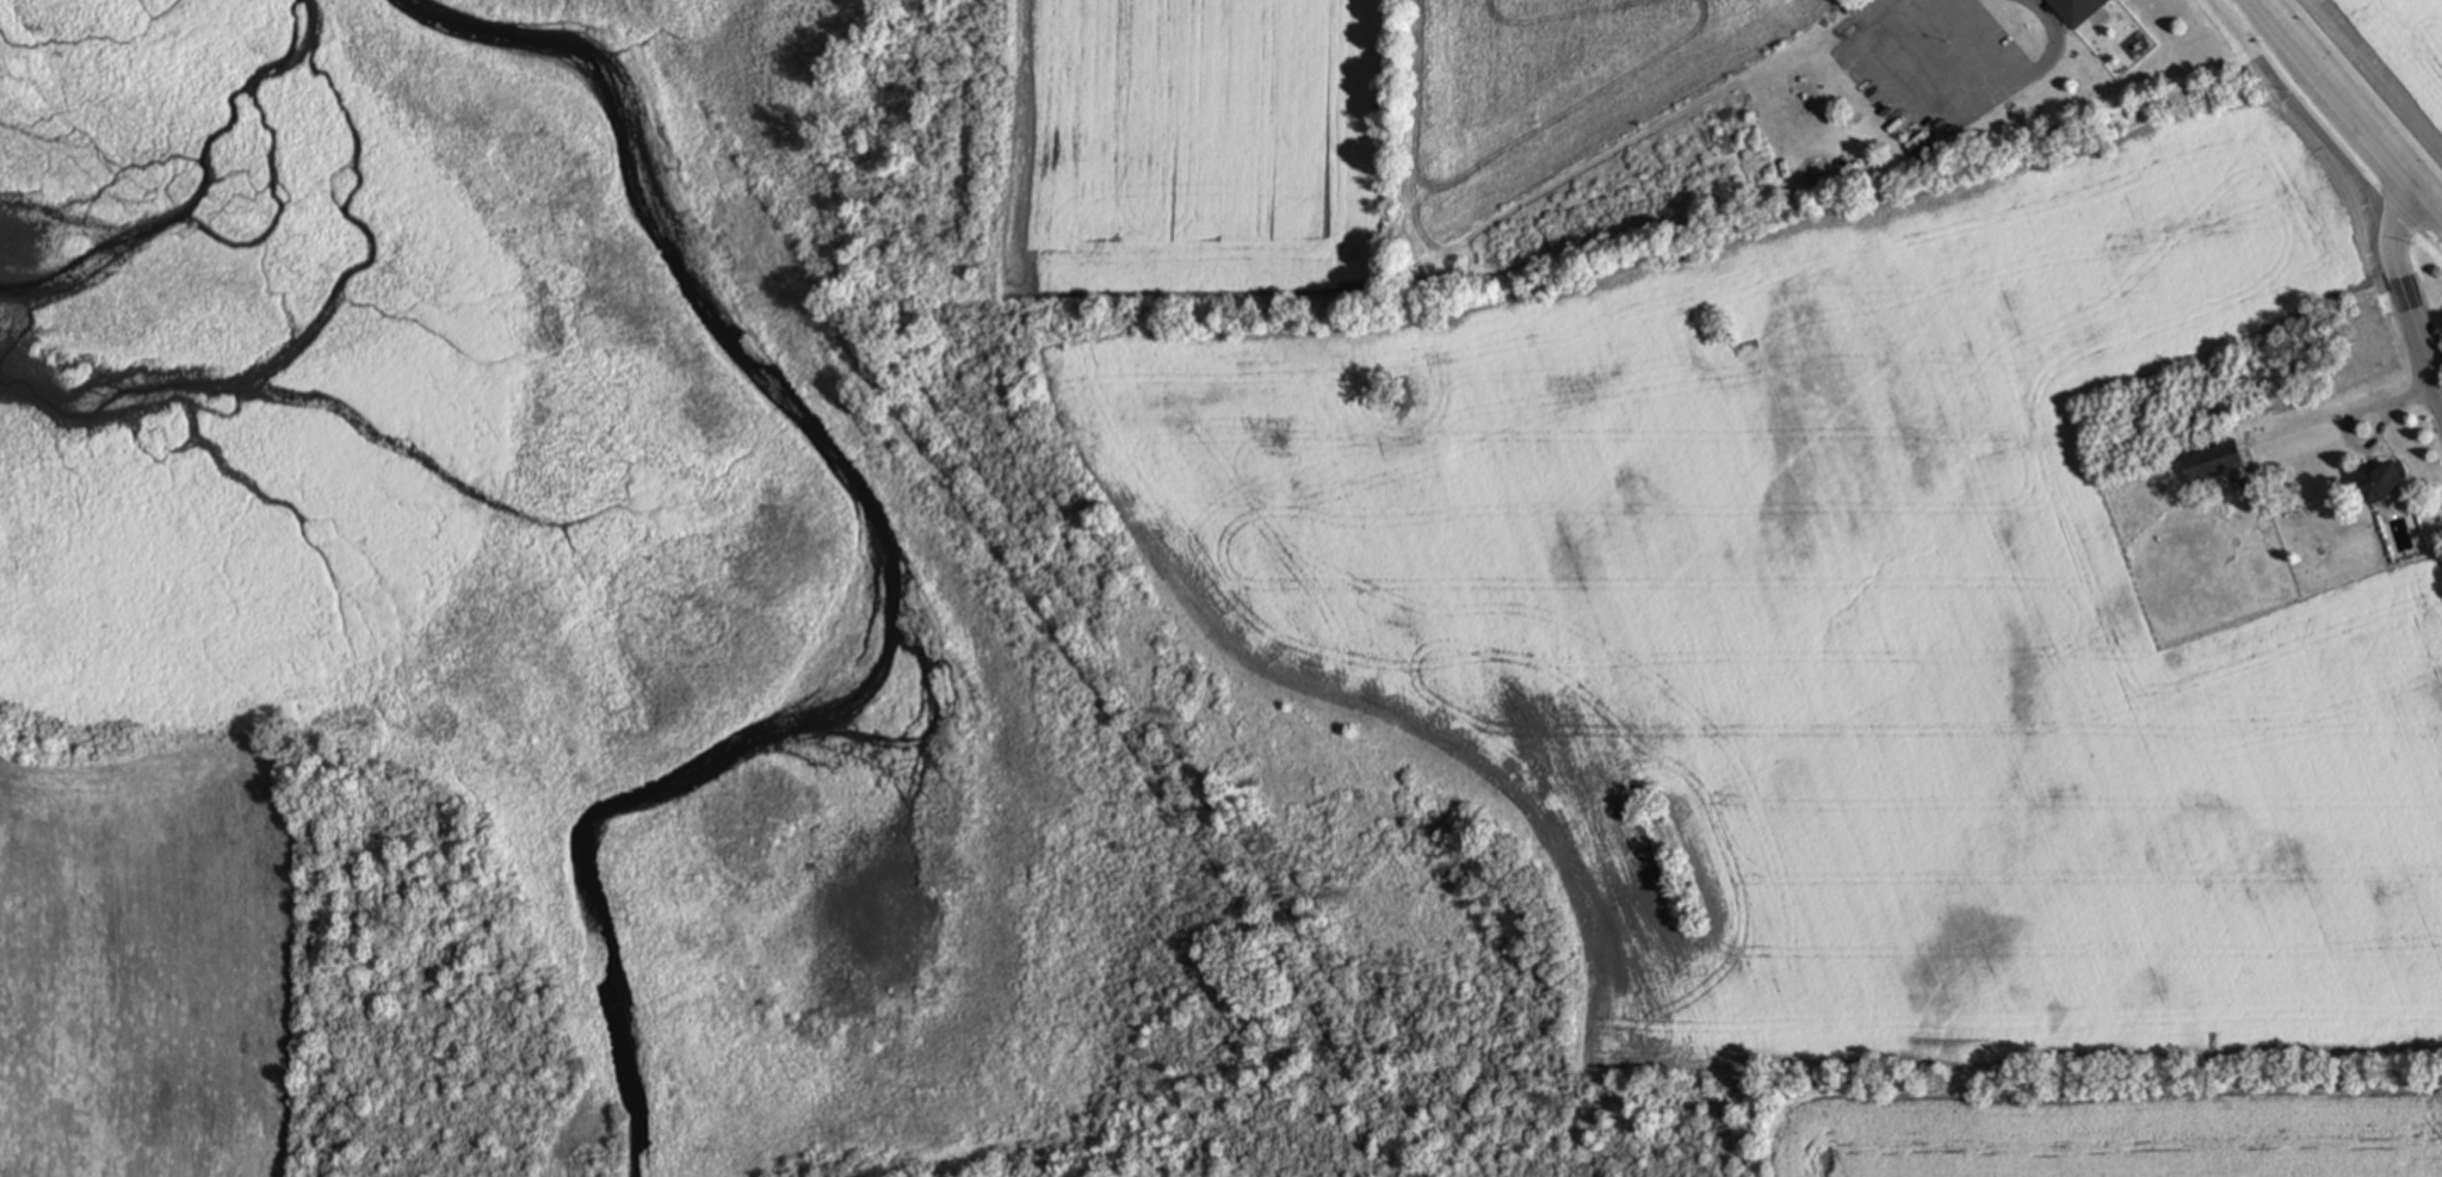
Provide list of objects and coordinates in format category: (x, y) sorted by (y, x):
building: (2077, 12)
crop: (2391, 60)
road: (2028, 74)
road: (2349, 106)
road: (2405, 292)
building: (2212, 464)
building: (2382, 485)
crop: (1778, 564)
crop: (149, 952)

